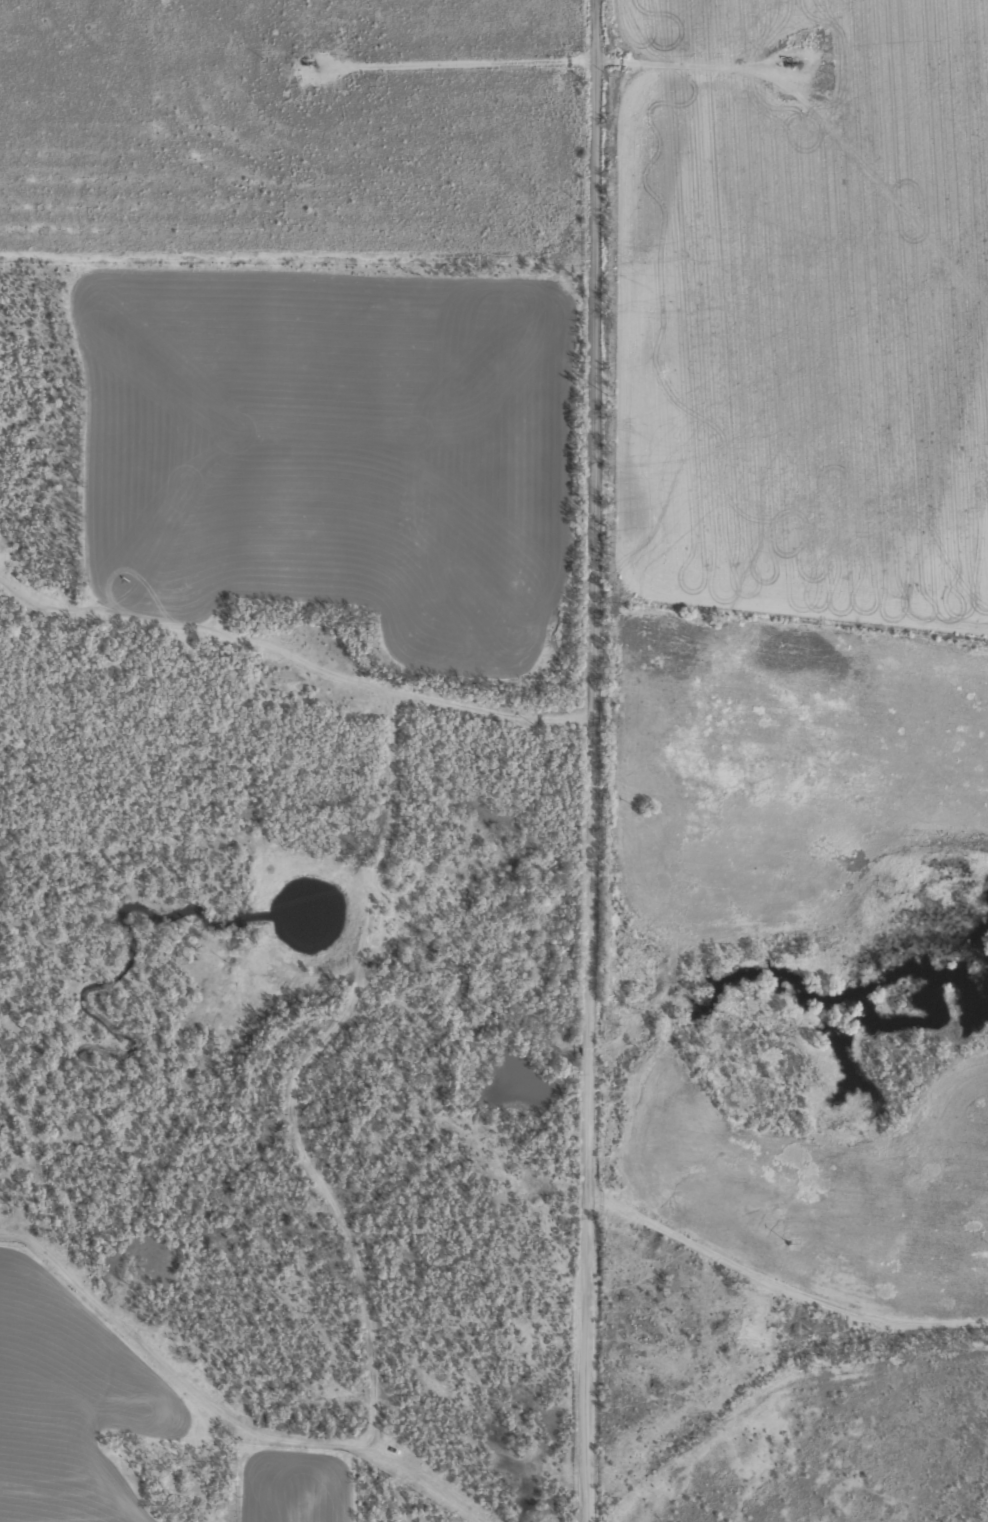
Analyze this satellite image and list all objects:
road: (619, 761)
road: (858, 1393)

